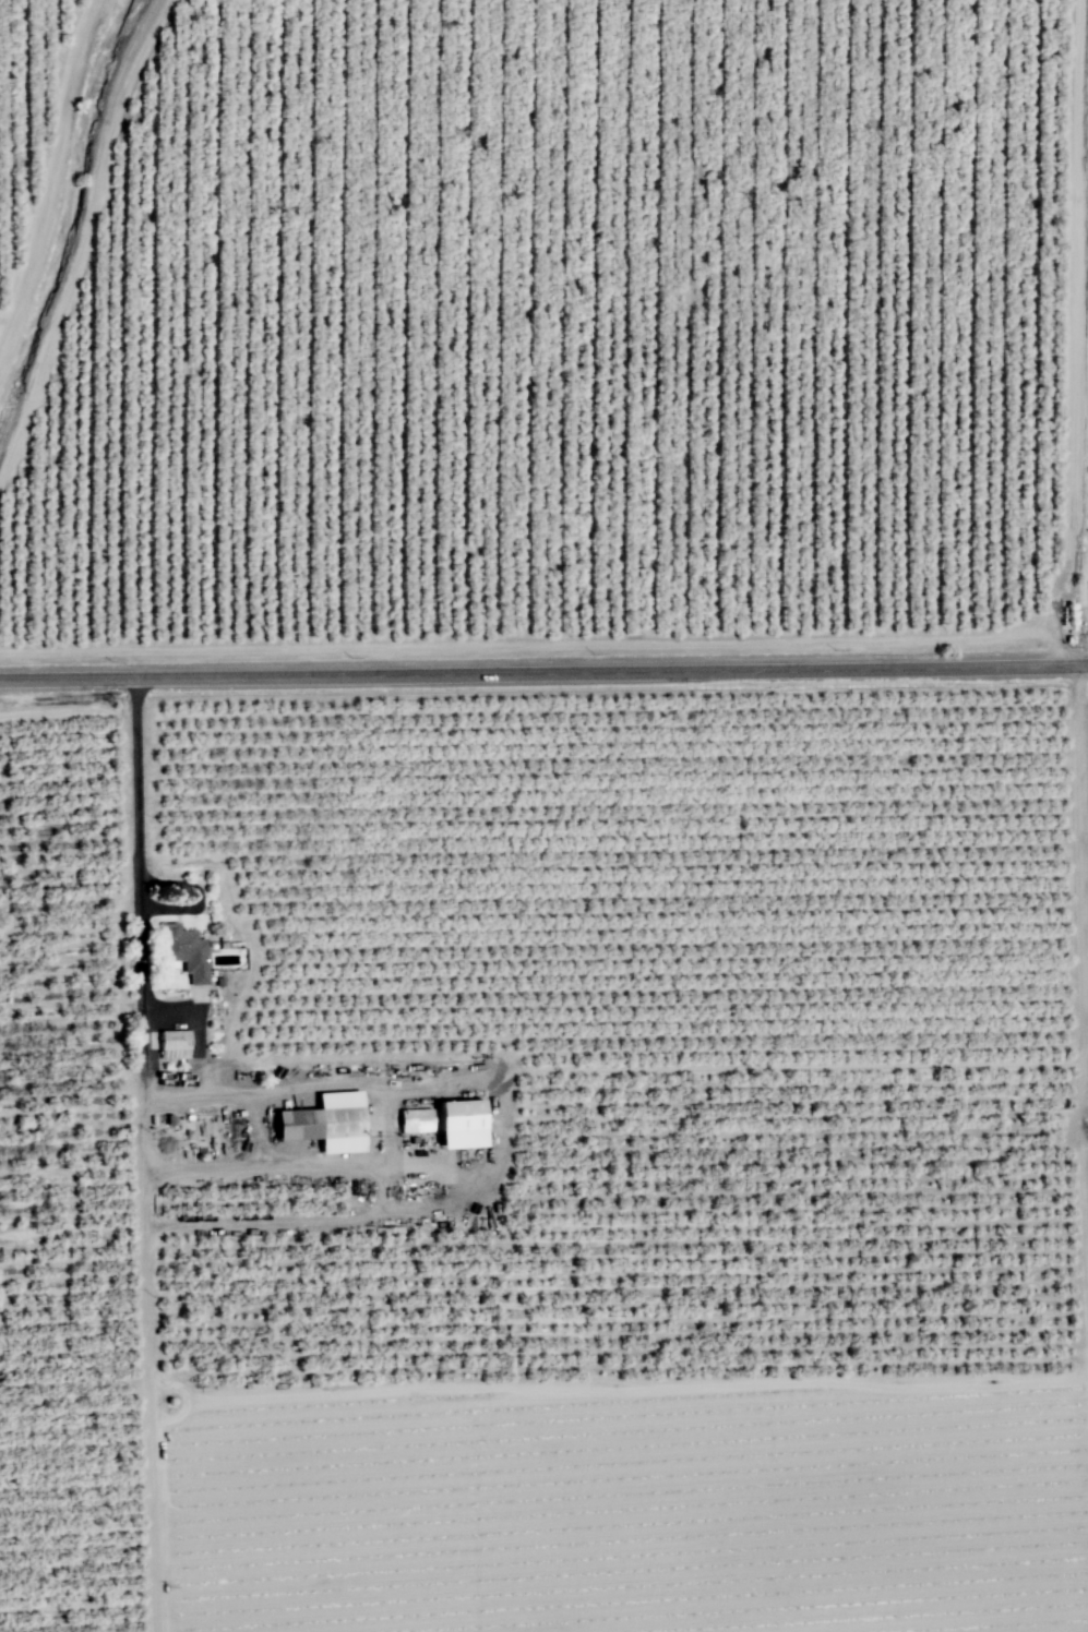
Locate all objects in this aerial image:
road: (56, 171)
road: (80, 239)
road: (1068, 335)
road: (1085, 531)
road: (1087, 628)
road: (523, 645)
road: (543, 675)
road: (67, 711)
road: (1083, 843)
building: (191, 955)
road: (199, 1003)
road: (199, 1029)
road: (140, 1043)
road: (734, 1067)
road: (303, 1087)
building: (417, 1120)
building: (330, 1121)
building: (465, 1123)
road: (260, 1128)
road: (1075, 1131)
road: (145, 1196)
road: (288, 1222)
road: (635, 1383)
road: (187, 1396)
road: (153, 1427)

